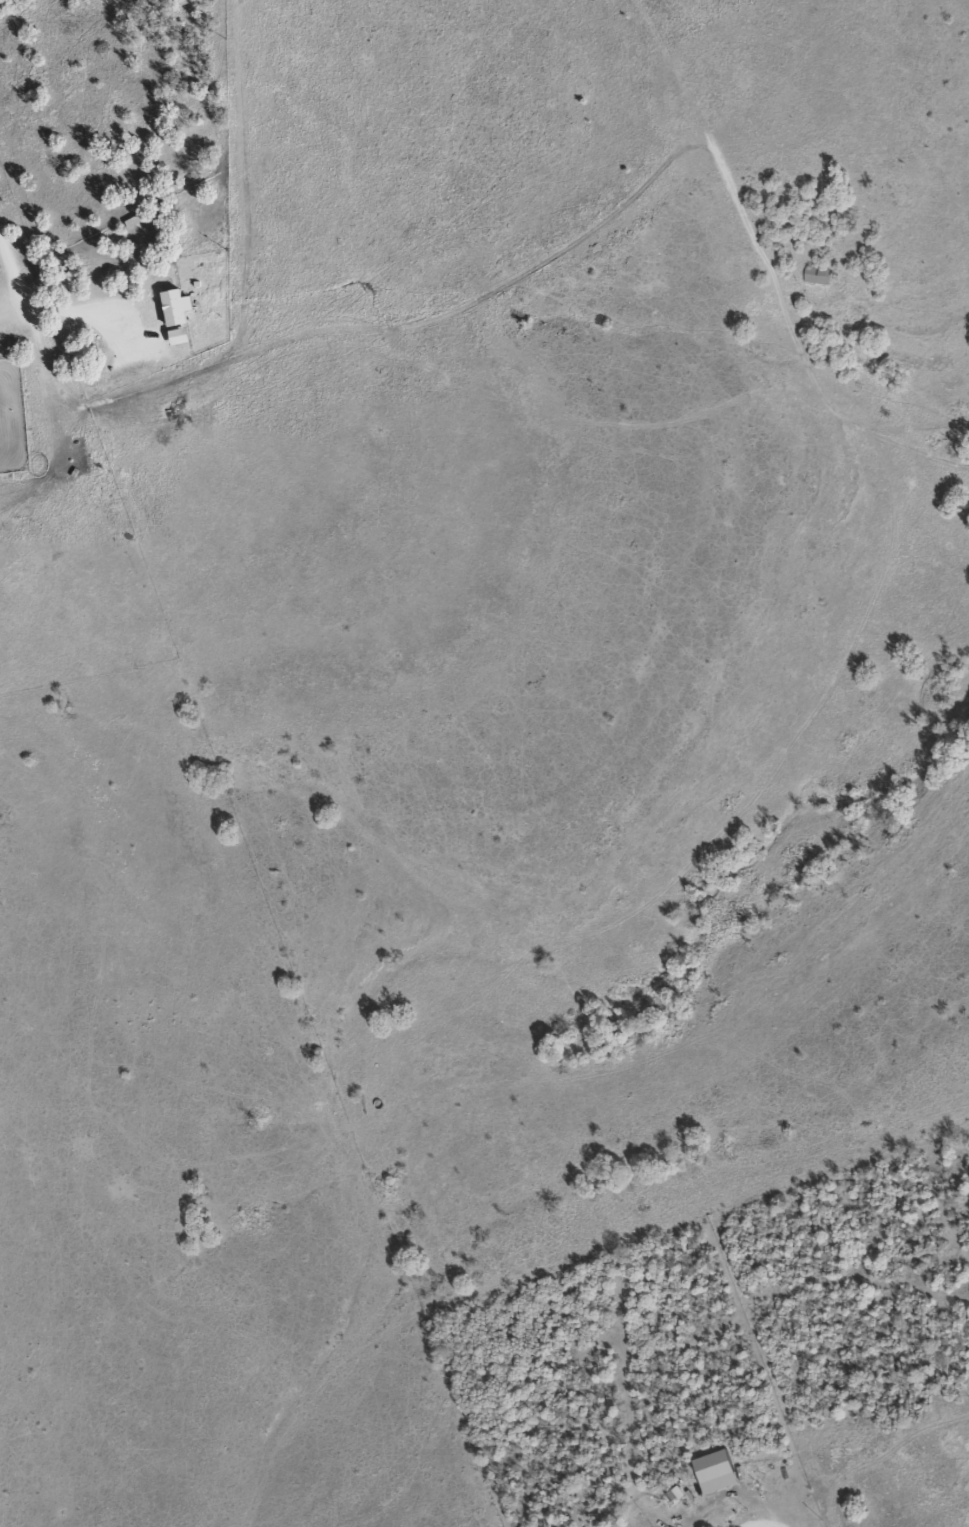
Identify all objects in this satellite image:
building: (812, 275)

